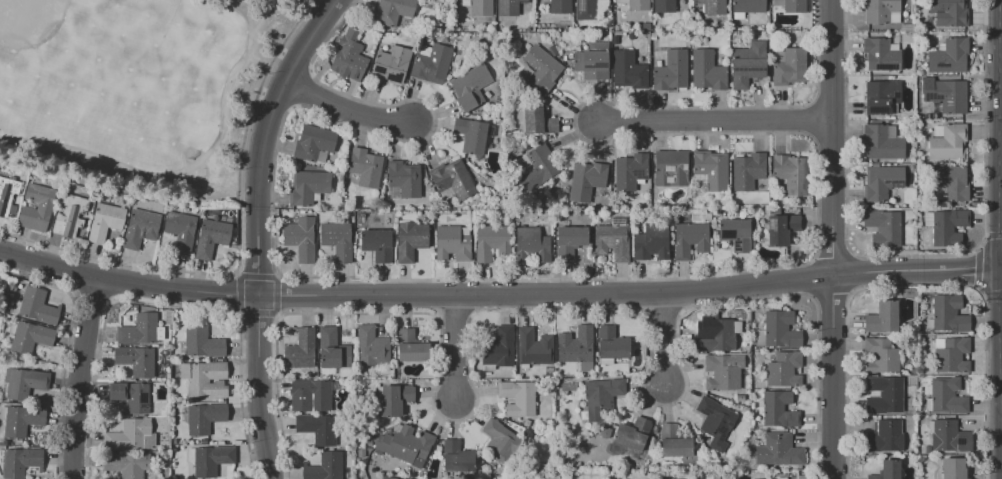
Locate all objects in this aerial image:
building: (465, 3)
road: (327, 4)
building: (635, 4)
building: (664, 6)
building: (748, 6)
road: (244, 7)
building: (560, 7)
building: (714, 7)
building: (794, 7)
building: (482, 8)
building: (507, 8)
building: (585, 10)
building: (393, 11)
building: (881, 11)
building: (948, 12)
park: (28, 22)
building: (906, 28)
building: (880, 55)
building: (350, 56)
building: (948, 56)
road: (294, 61)
building: (593, 61)
building: (431, 62)
building: (391, 63)
building: (748, 64)
building: (789, 66)
building: (541, 69)
building: (627, 70)
building: (671, 70)
building: (706, 70)
building: (527, 72)
building: (470, 86)
road: (300, 88)
park: (140, 90)
building: (944, 94)
building: (882, 97)
road: (276, 100)
road: (826, 103)
road: (346, 107)
road: (985, 117)
road: (712, 119)
road: (809, 119)
road: (845, 119)
building: (536, 120)
building: (472, 135)
road: (827, 136)
road: (265, 138)
building: (882, 142)
building: (948, 143)
building: (314, 144)
road: (205, 155)
building: (535, 167)
building: (671, 168)
building: (363, 169)
building: (712, 169)
building: (630, 171)
building: (748, 171)
building: (791, 174)
building: (404, 179)
building: (452, 180)
building: (586, 180)
building: (881, 183)
building: (947, 183)
building: (307, 187)
building: (7, 194)
building: (44, 207)
building: (69, 215)
building: (105, 222)
building: (947, 225)
building: (883, 227)
building: (139, 228)
building: (781, 228)
building: (180, 231)
building: (735, 234)
road: (994, 234)
building: (211, 237)
building: (301, 238)
building: (613, 239)
road: (830, 239)
building: (337, 240)
building: (410, 240)
building: (570, 240)
building: (690, 240)
building: (492, 242)
building: (652, 242)
building: (453, 243)
building: (377, 244)
road: (238, 246)
building: (532, 246)
road: (832, 255)
road: (915, 255)
road: (977, 268)
road: (851, 272)
road: (811, 277)
road: (628, 279)
road: (127, 281)
road: (915, 284)
road: (830, 293)
road: (992, 293)
road: (630, 294)
road: (679, 294)
road: (633, 295)
road: (469, 296)
road: (434, 297)
building: (35, 306)
road: (539, 308)
road: (656, 311)
road: (451, 315)
building: (947, 315)
building: (882, 318)
building: (140, 330)
building: (778, 331)
building: (719, 335)
building: (29, 336)
road: (660, 337)
building: (202, 342)
building: (576, 345)
building: (610, 345)
building: (410, 346)
building: (371, 347)
road: (453, 347)
building: (498, 348)
building: (534, 348)
building: (332, 349)
building: (301, 350)
building: (951, 354)
building: (880, 355)
building: (136, 360)
building: (784, 369)
building: (722, 373)
building: (168, 376)
road: (78, 377)
building: (205, 379)
building: (24, 383)
building: (564, 385)
road: (259, 387)
building: (310, 395)
building: (884, 395)
building: (130, 396)
building: (947, 396)
building: (519, 398)
building: (601, 398)
building: (179, 399)
building: (395, 399)
building: (778, 410)
building: (204, 417)
building: (21, 419)
building: (715, 422)
building: (526, 423)
building: (318, 428)
building: (605, 432)
building: (632, 433)
building: (129, 434)
building: (884, 437)
building: (948, 437)
building: (162, 438)
building: (499, 441)
building: (674, 442)
building: (367, 443)
building: (406, 446)
building: (779, 451)
building: (361, 452)
building: (457, 457)
building: (212, 460)
building: (19, 462)
building: (128, 463)
building: (324, 467)
building: (953, 469)
building: (887, 470)
building: (178, 476)

